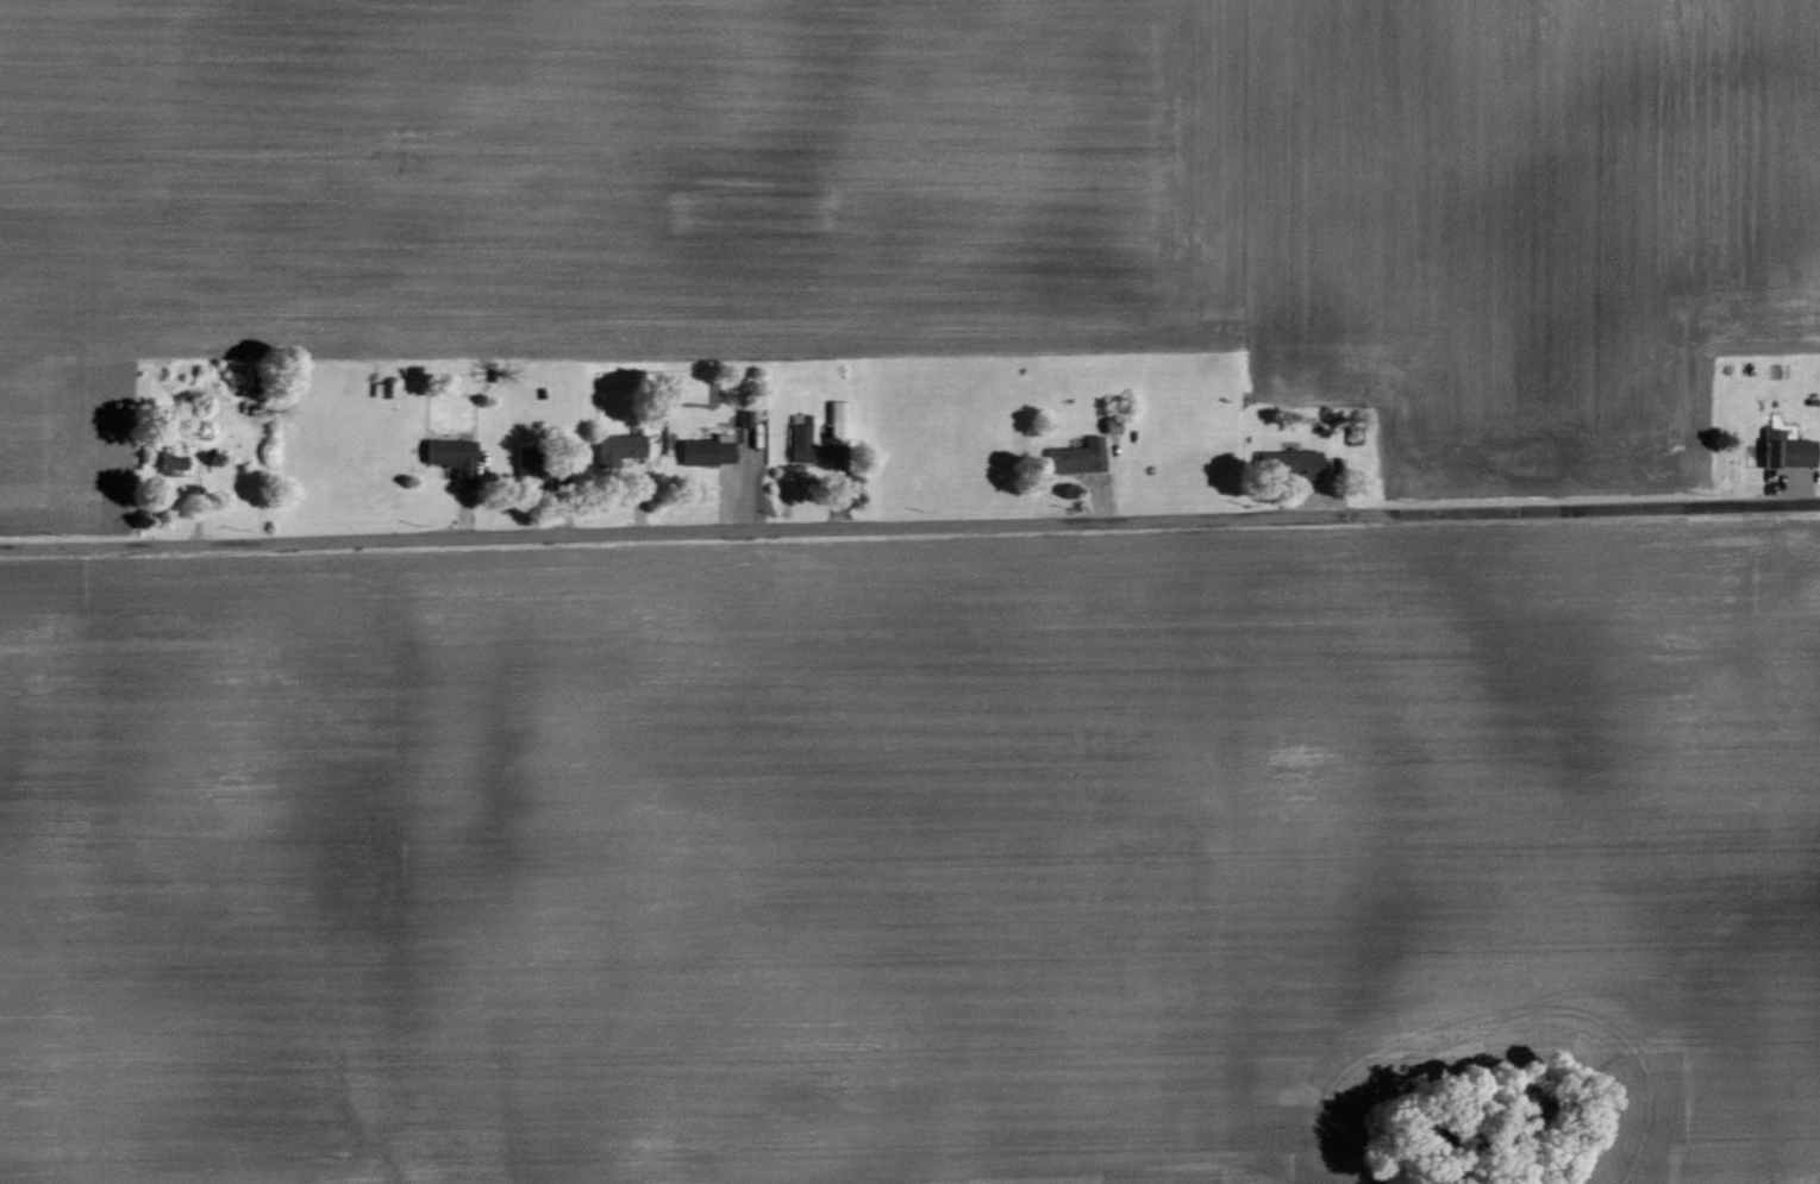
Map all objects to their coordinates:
building: (840, 420)
building: (807, 441)
building: (619, 447)
building: (709, 450)
building: (1789, 450)
building: (450, 452)
building: (1078, 456)
building: (171, 463)
building: (527, 464)
building: (1290, 464)
road: (909, 525)

